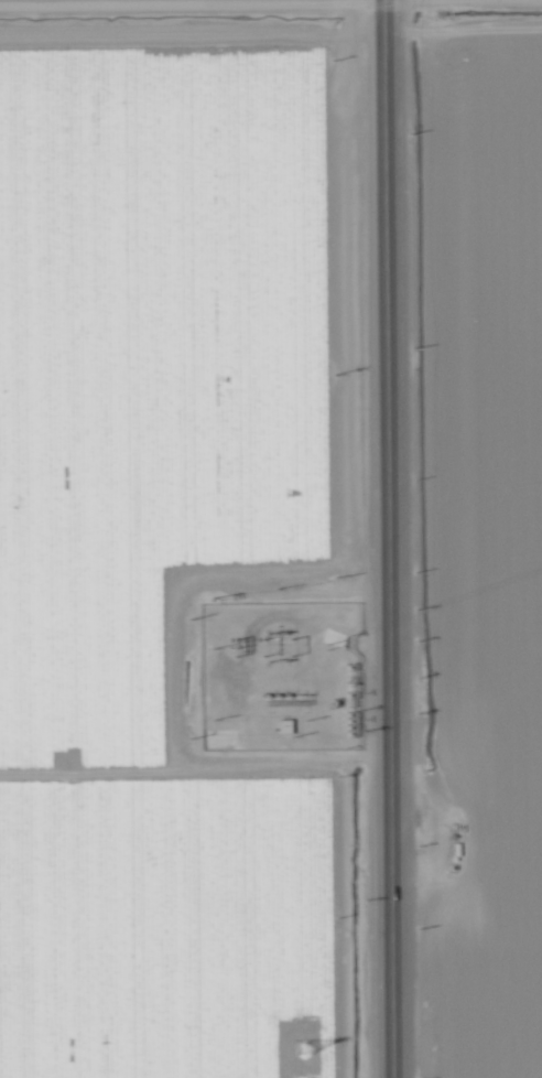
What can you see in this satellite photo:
crop: (171, 29)
crop: (490, 33)
road: (383, 539)
crop: (169, 564)
crop: (488, 581)
power substation: (272, 684)
power tower: (295, 1046)

